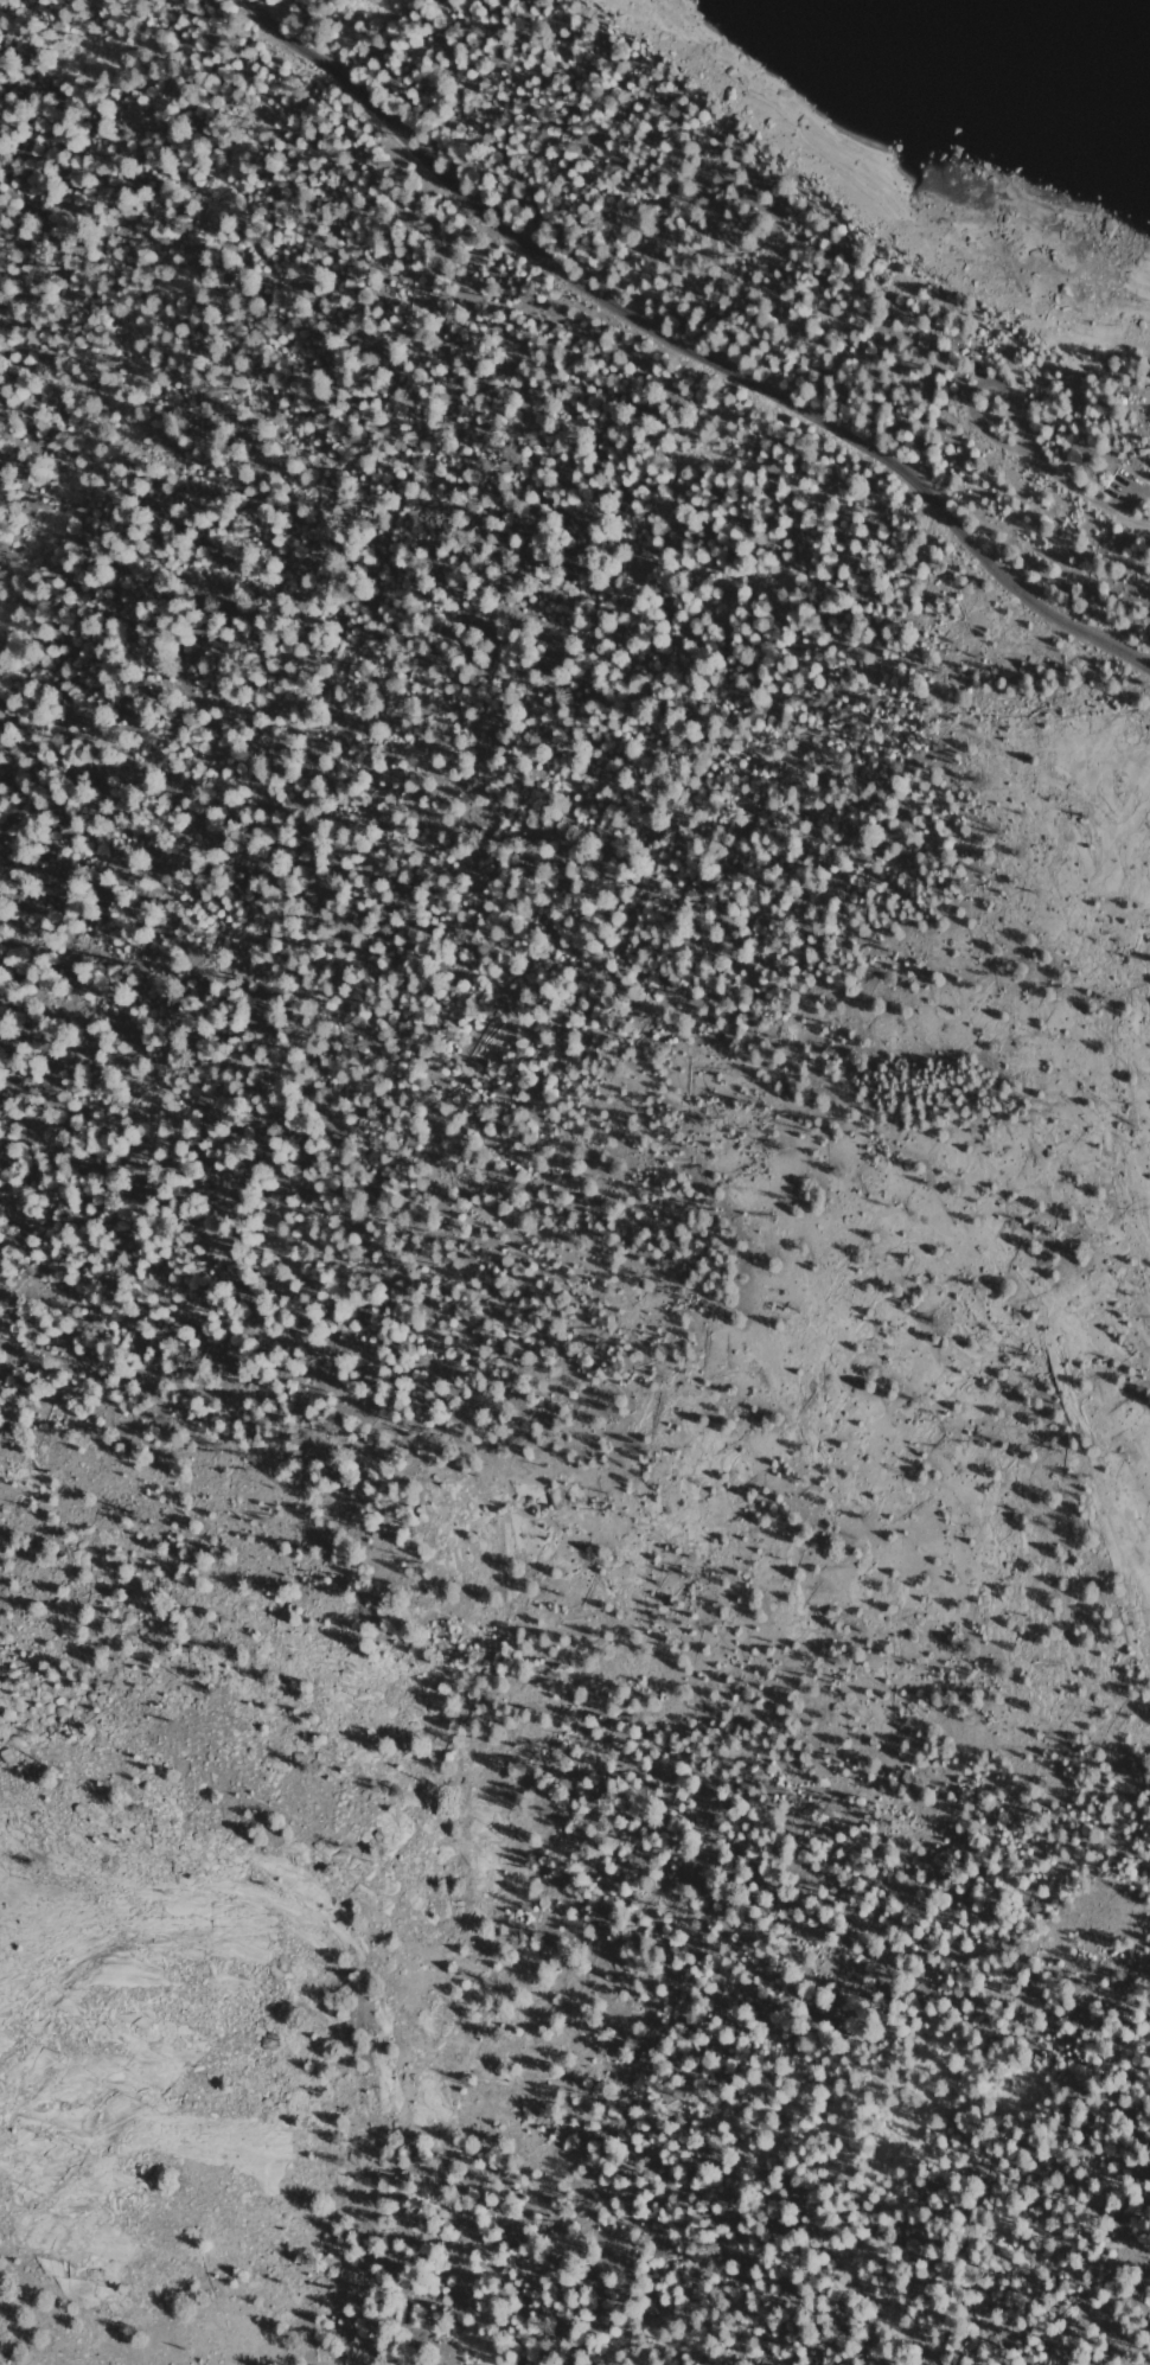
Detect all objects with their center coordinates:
road: (688, 352)
road: (973, 390)
parking lot: (1124, 494)
road: (1097, 504)

